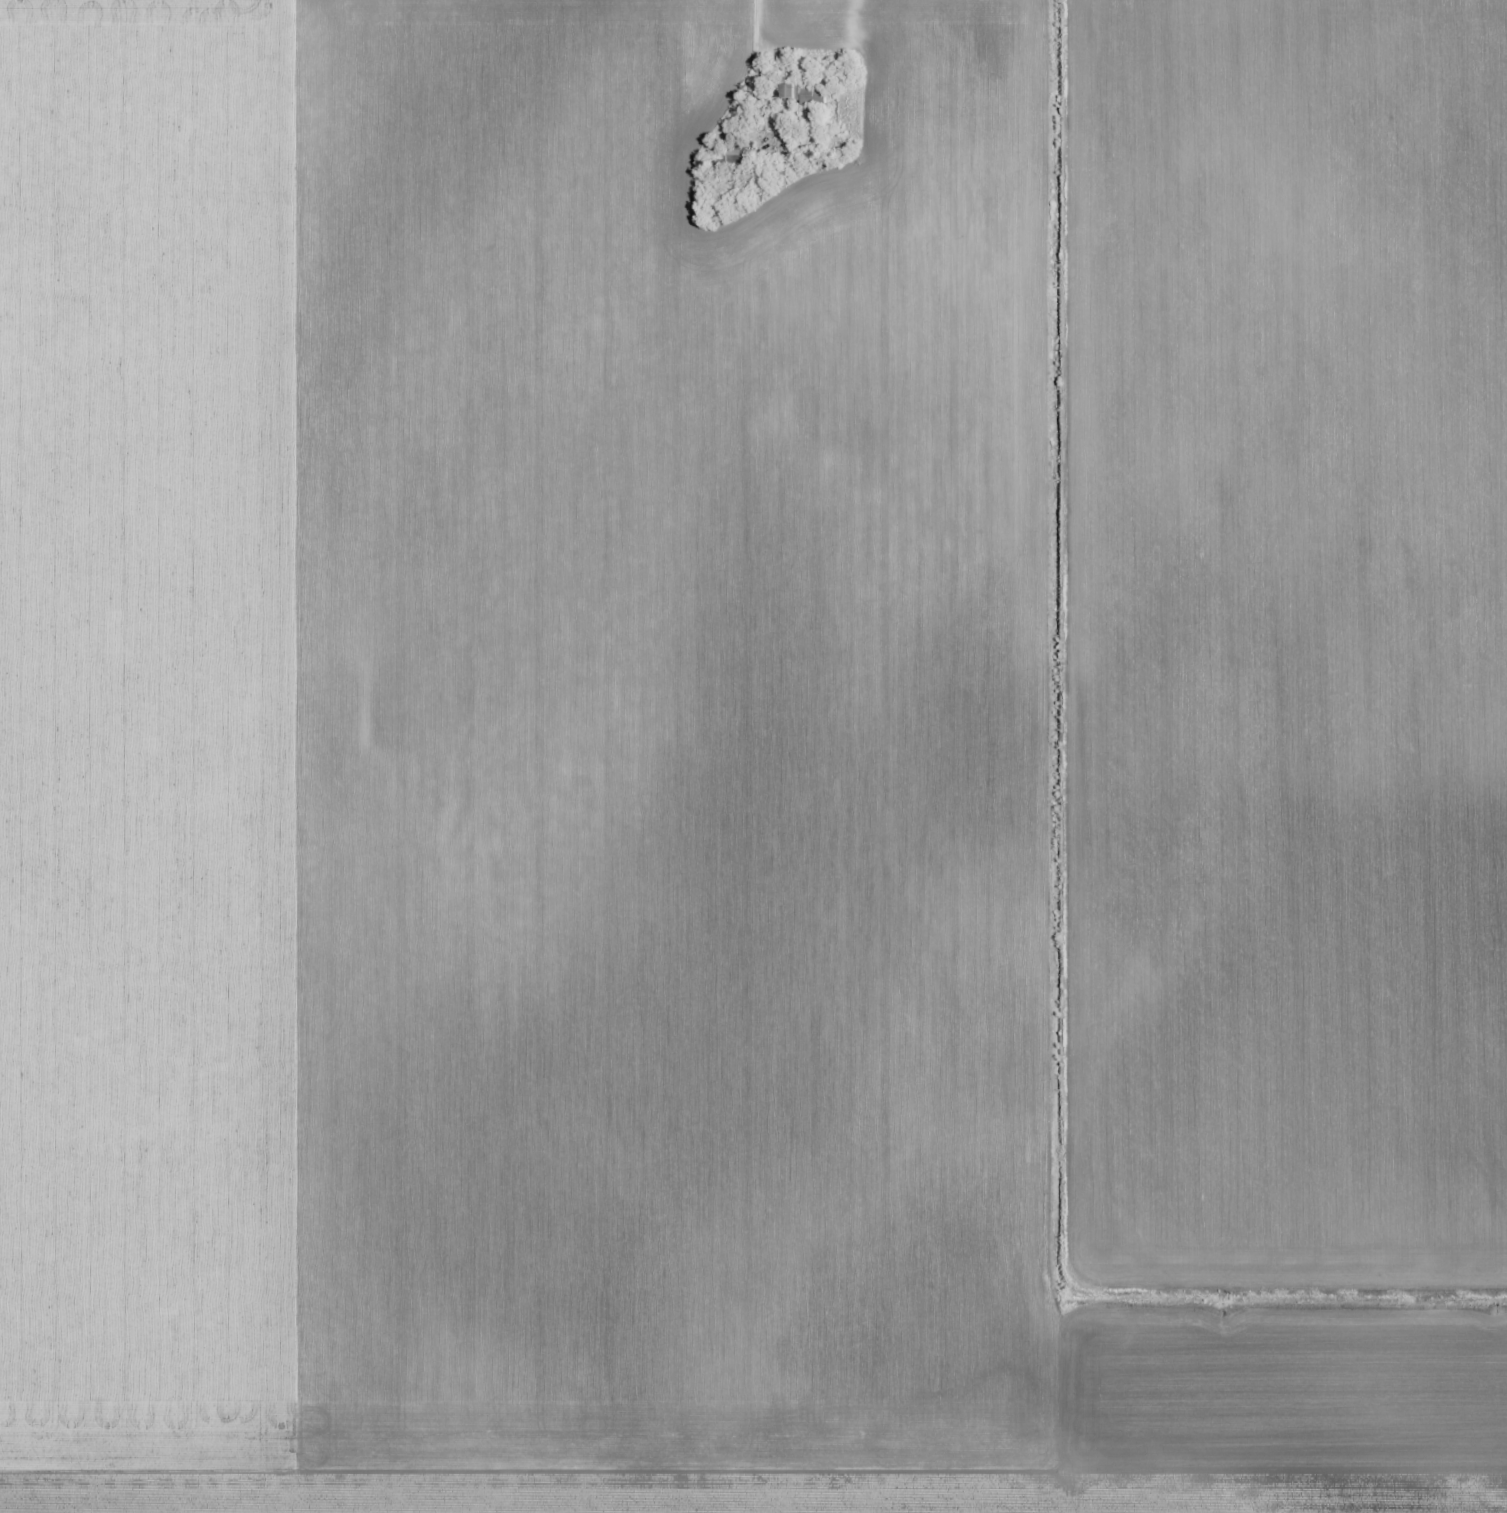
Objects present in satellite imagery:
building: (808, 94)
building: (739, 155)

